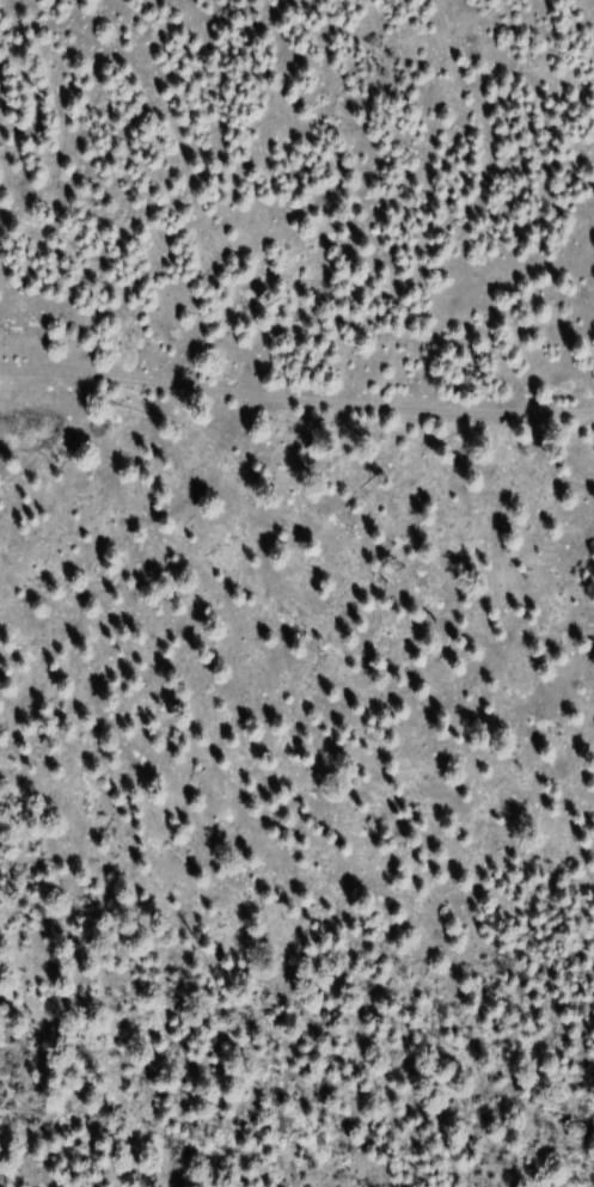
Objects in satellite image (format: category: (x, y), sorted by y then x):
road: (295, 397)

